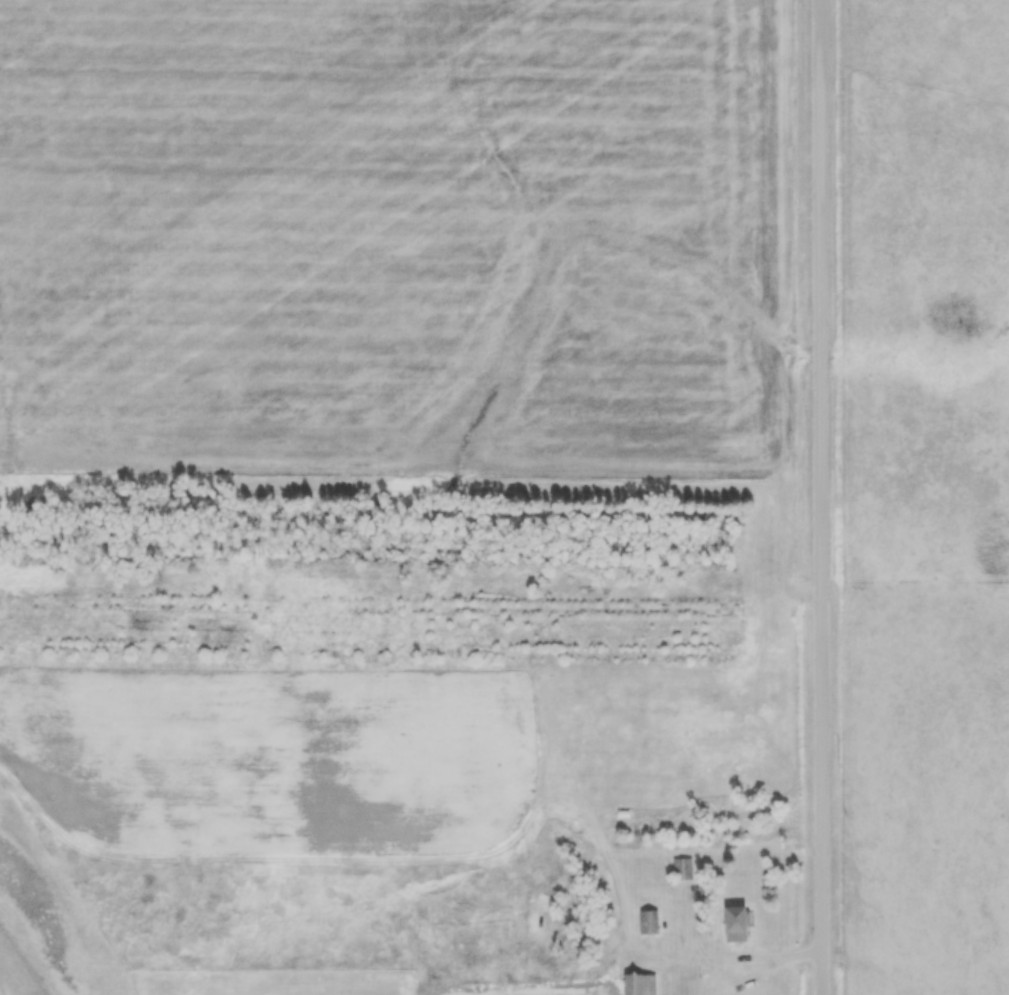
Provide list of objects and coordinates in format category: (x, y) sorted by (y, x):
road: (821, 497)
building: (680, 869)
building: (646, 922)
building: (733, 923)
road: (737, 955)
building: (638, 984)

